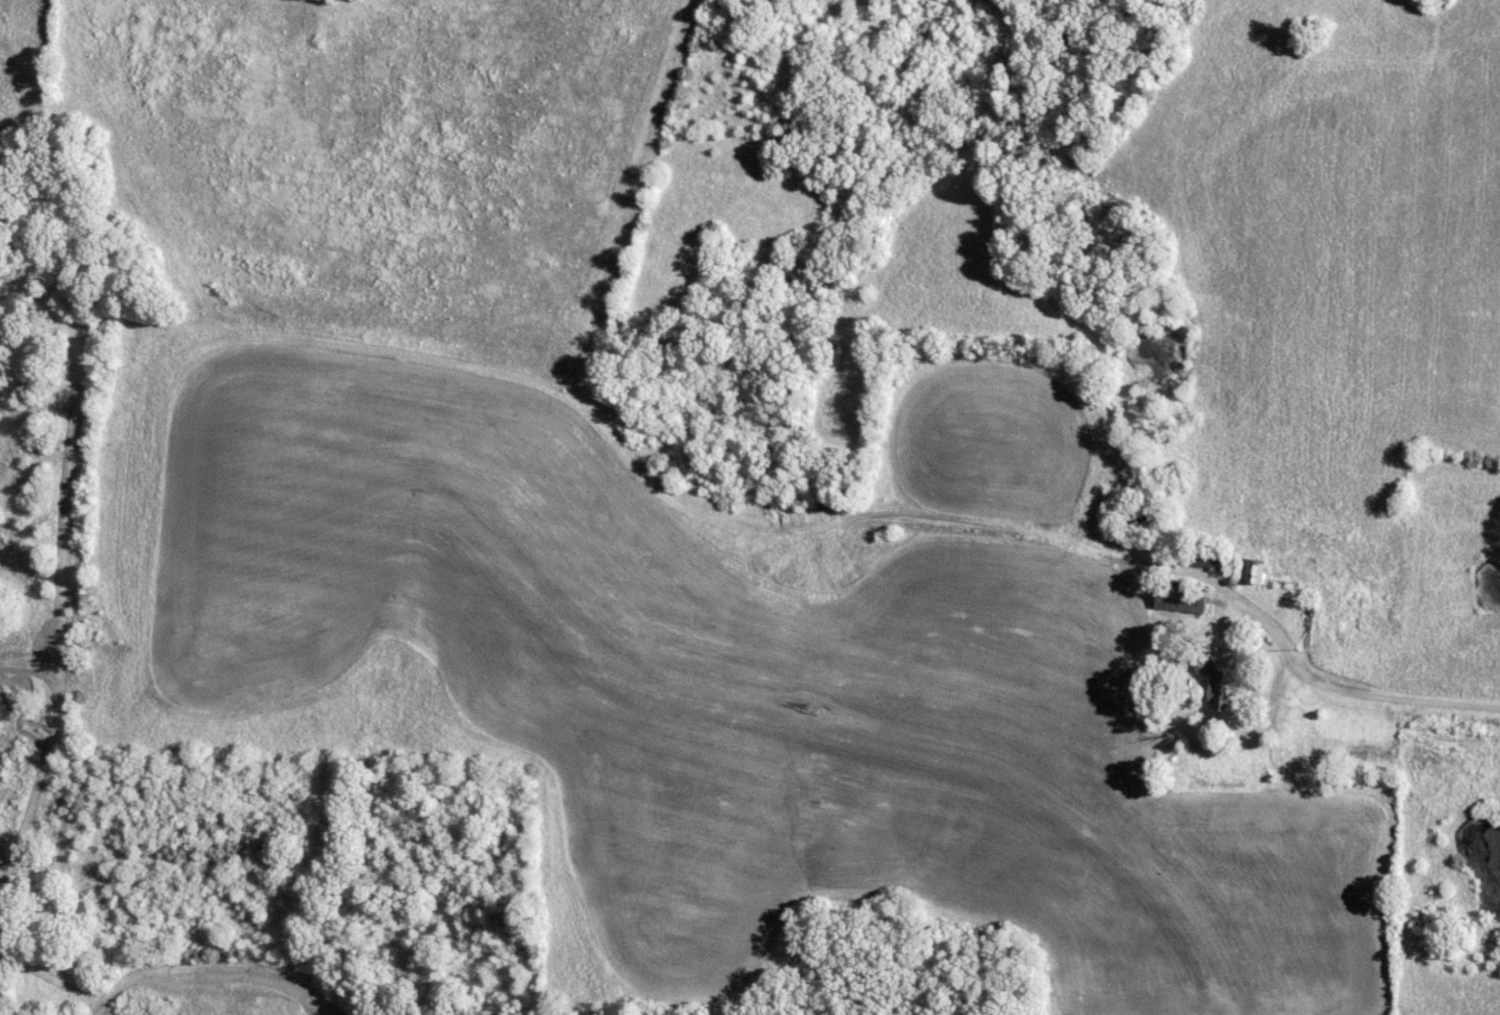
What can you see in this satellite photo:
building: (1206, 558)
building: (1255, 571)
building: (1184, 599)
building: (1220, 686)
road: (1333, 691)

